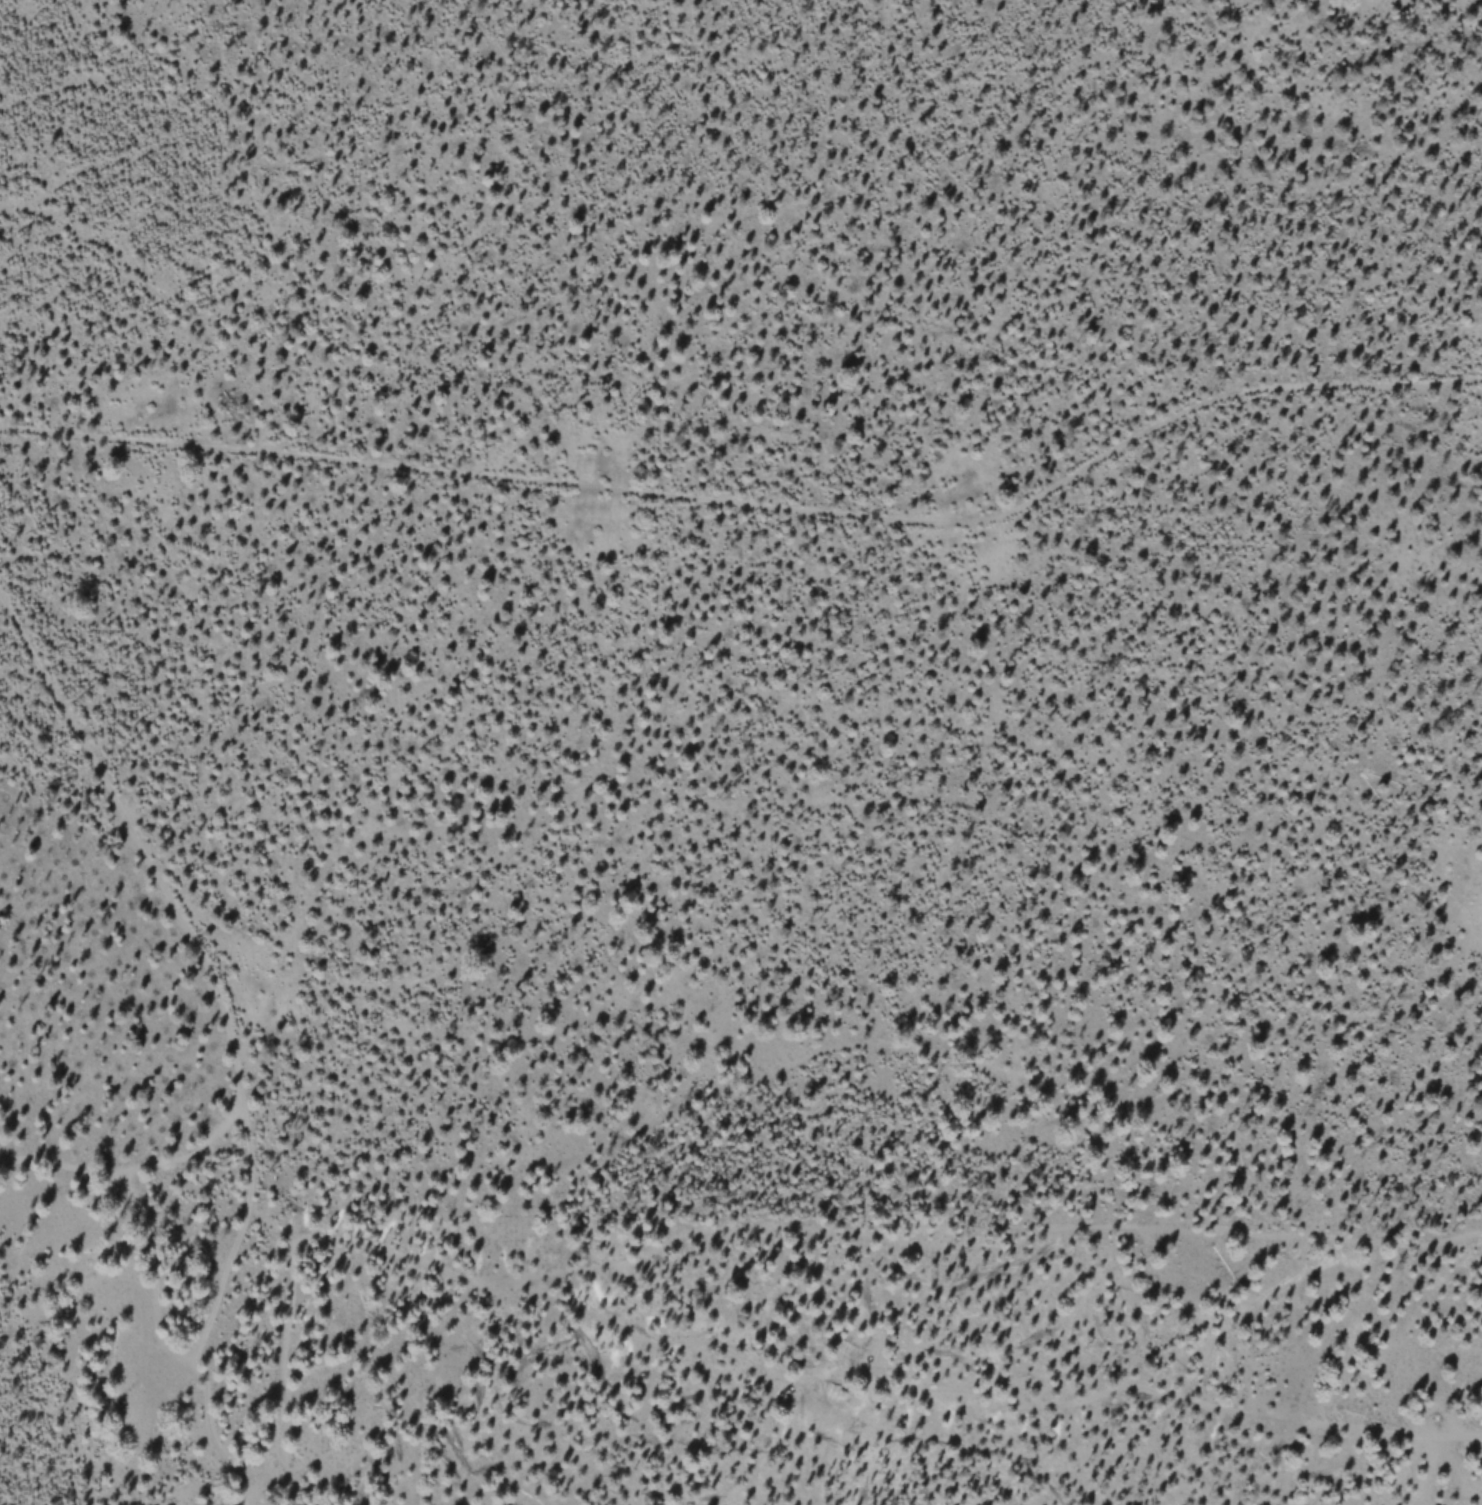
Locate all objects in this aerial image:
road: (756, 505)
road: (131, 806)
road: (899, 1234)

